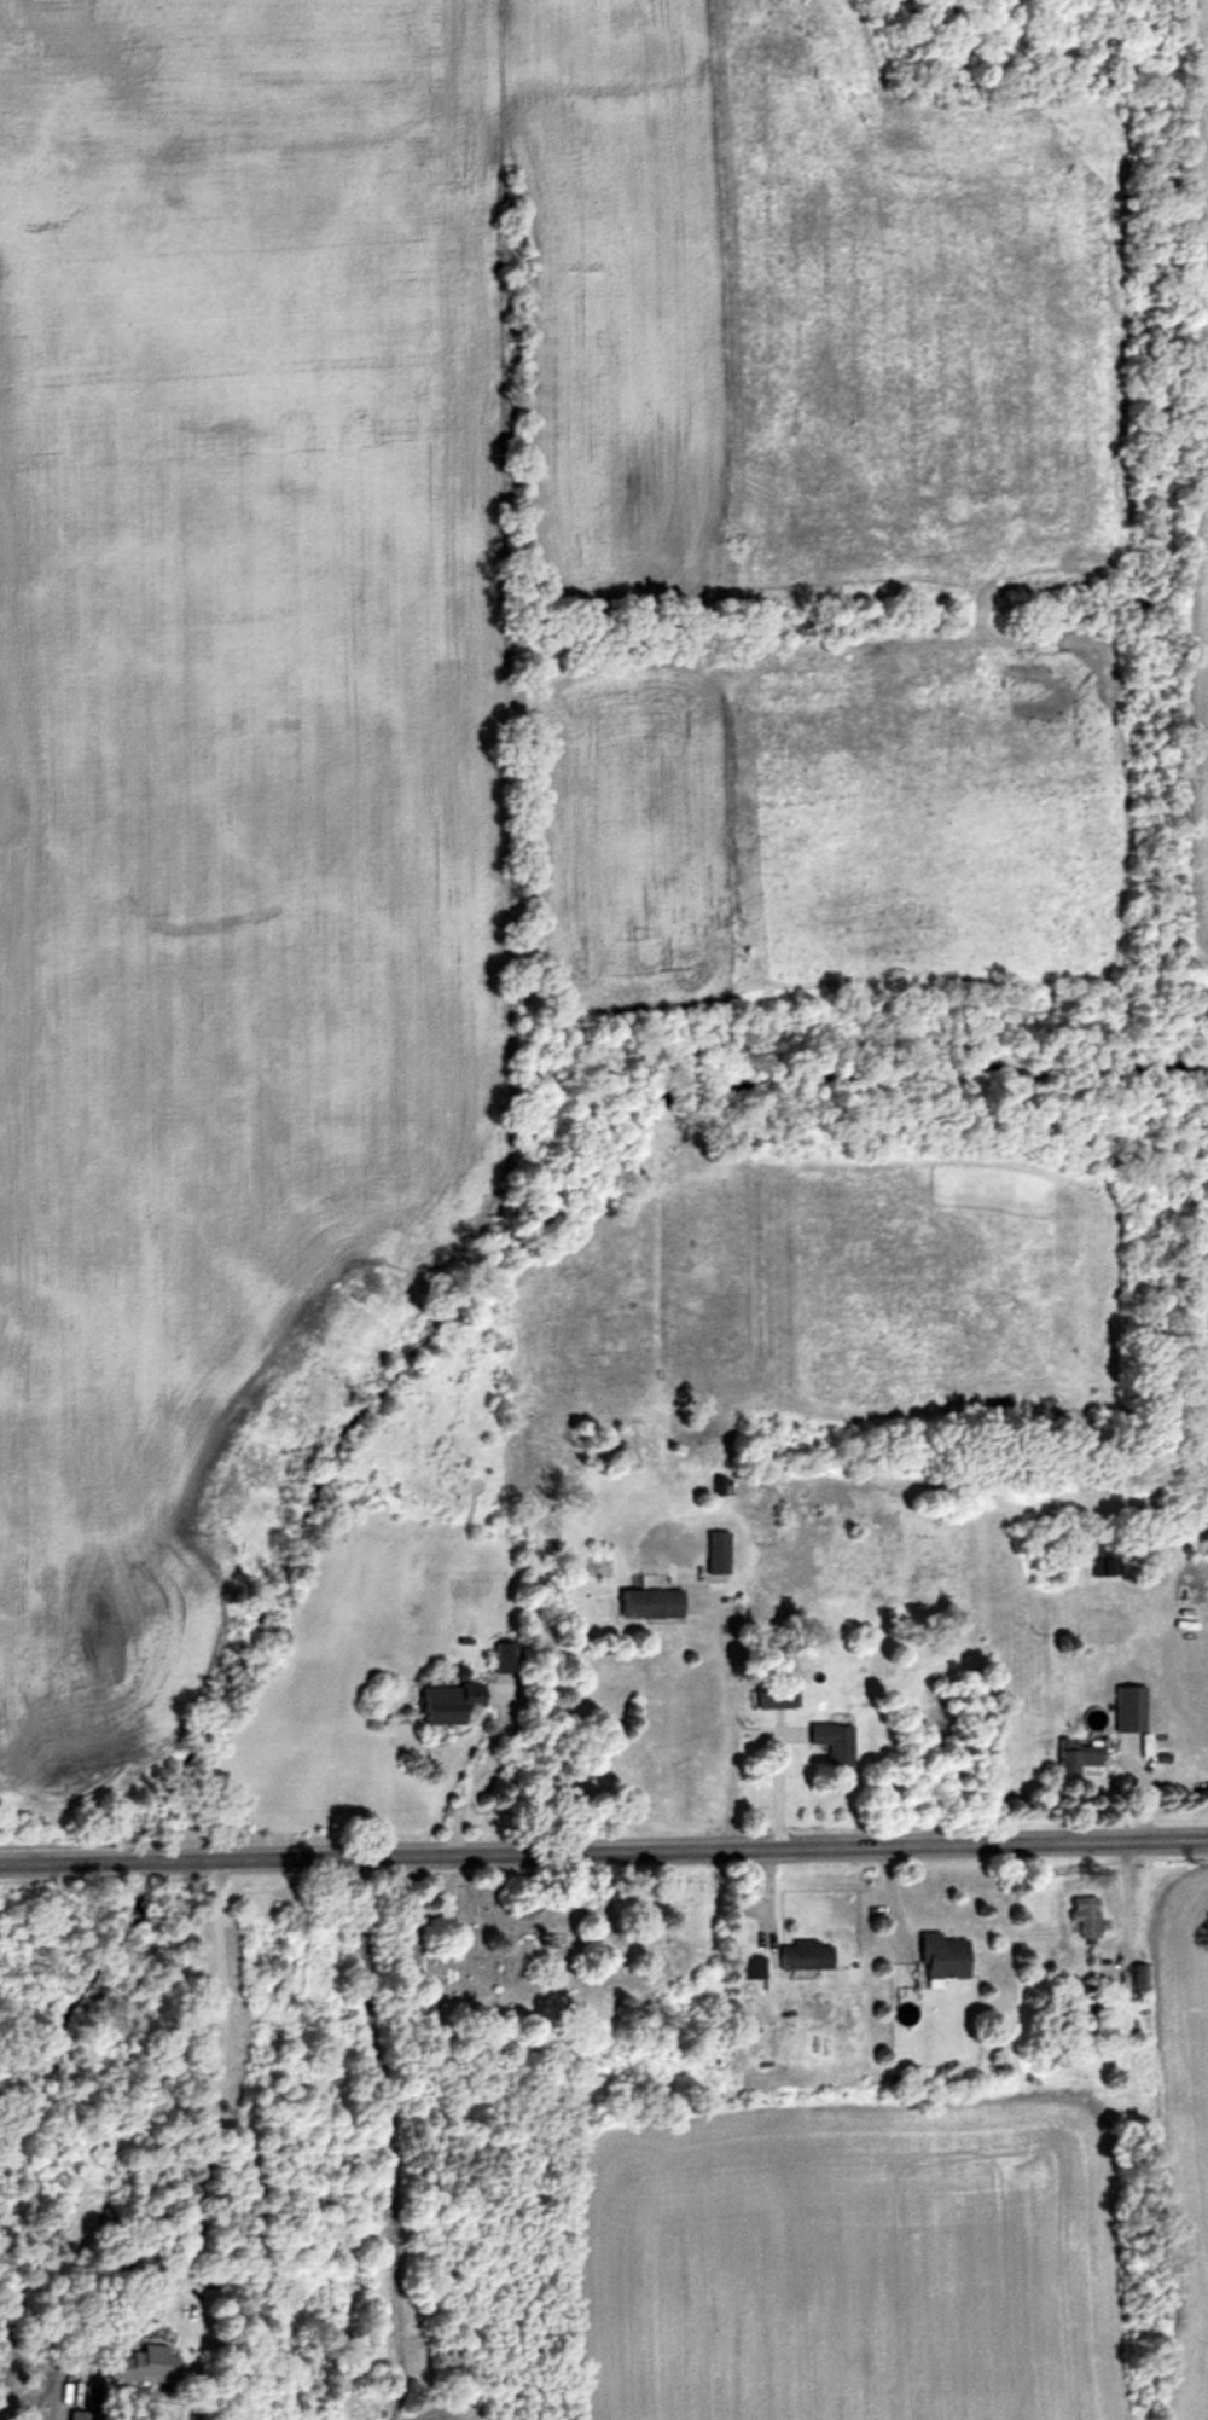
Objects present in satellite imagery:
building: (716, 1485)
building: (715, 1557)
building: (1103, 1562)
road: (701, 1600)
building: (647, 1602)
building: (464, 1641)
building: (1189, 1656)
building: (505, 1659)
building: (774, 1693)
building: (447, 1701)
building: (1127, 1708)
road: (731, 1717)
road: (790, 1734)
building: (832, 1743)
building: (1162, 1743)
building: (1071, 1757)
building: (1161, 1758)
road: (476, 1769)
road: (778, 1778)
road: (1142, 1797)
road: (603, 1849)
road: (889, 1893)
road: (1127, 1900)
road: (768, 1915)
building: (1084, 1915)
park: (556, 1955)
building: (802, 1955)
building: (936, 1960)
building: (750, 1967)
building: (801, 1975)
building: (1138, 1977)
building: (1075, 2019)
building: (726, 2042)
road: (219, 2099)
road: (390, 2137)
building: (144, 2368)
building: (76, 2414)

